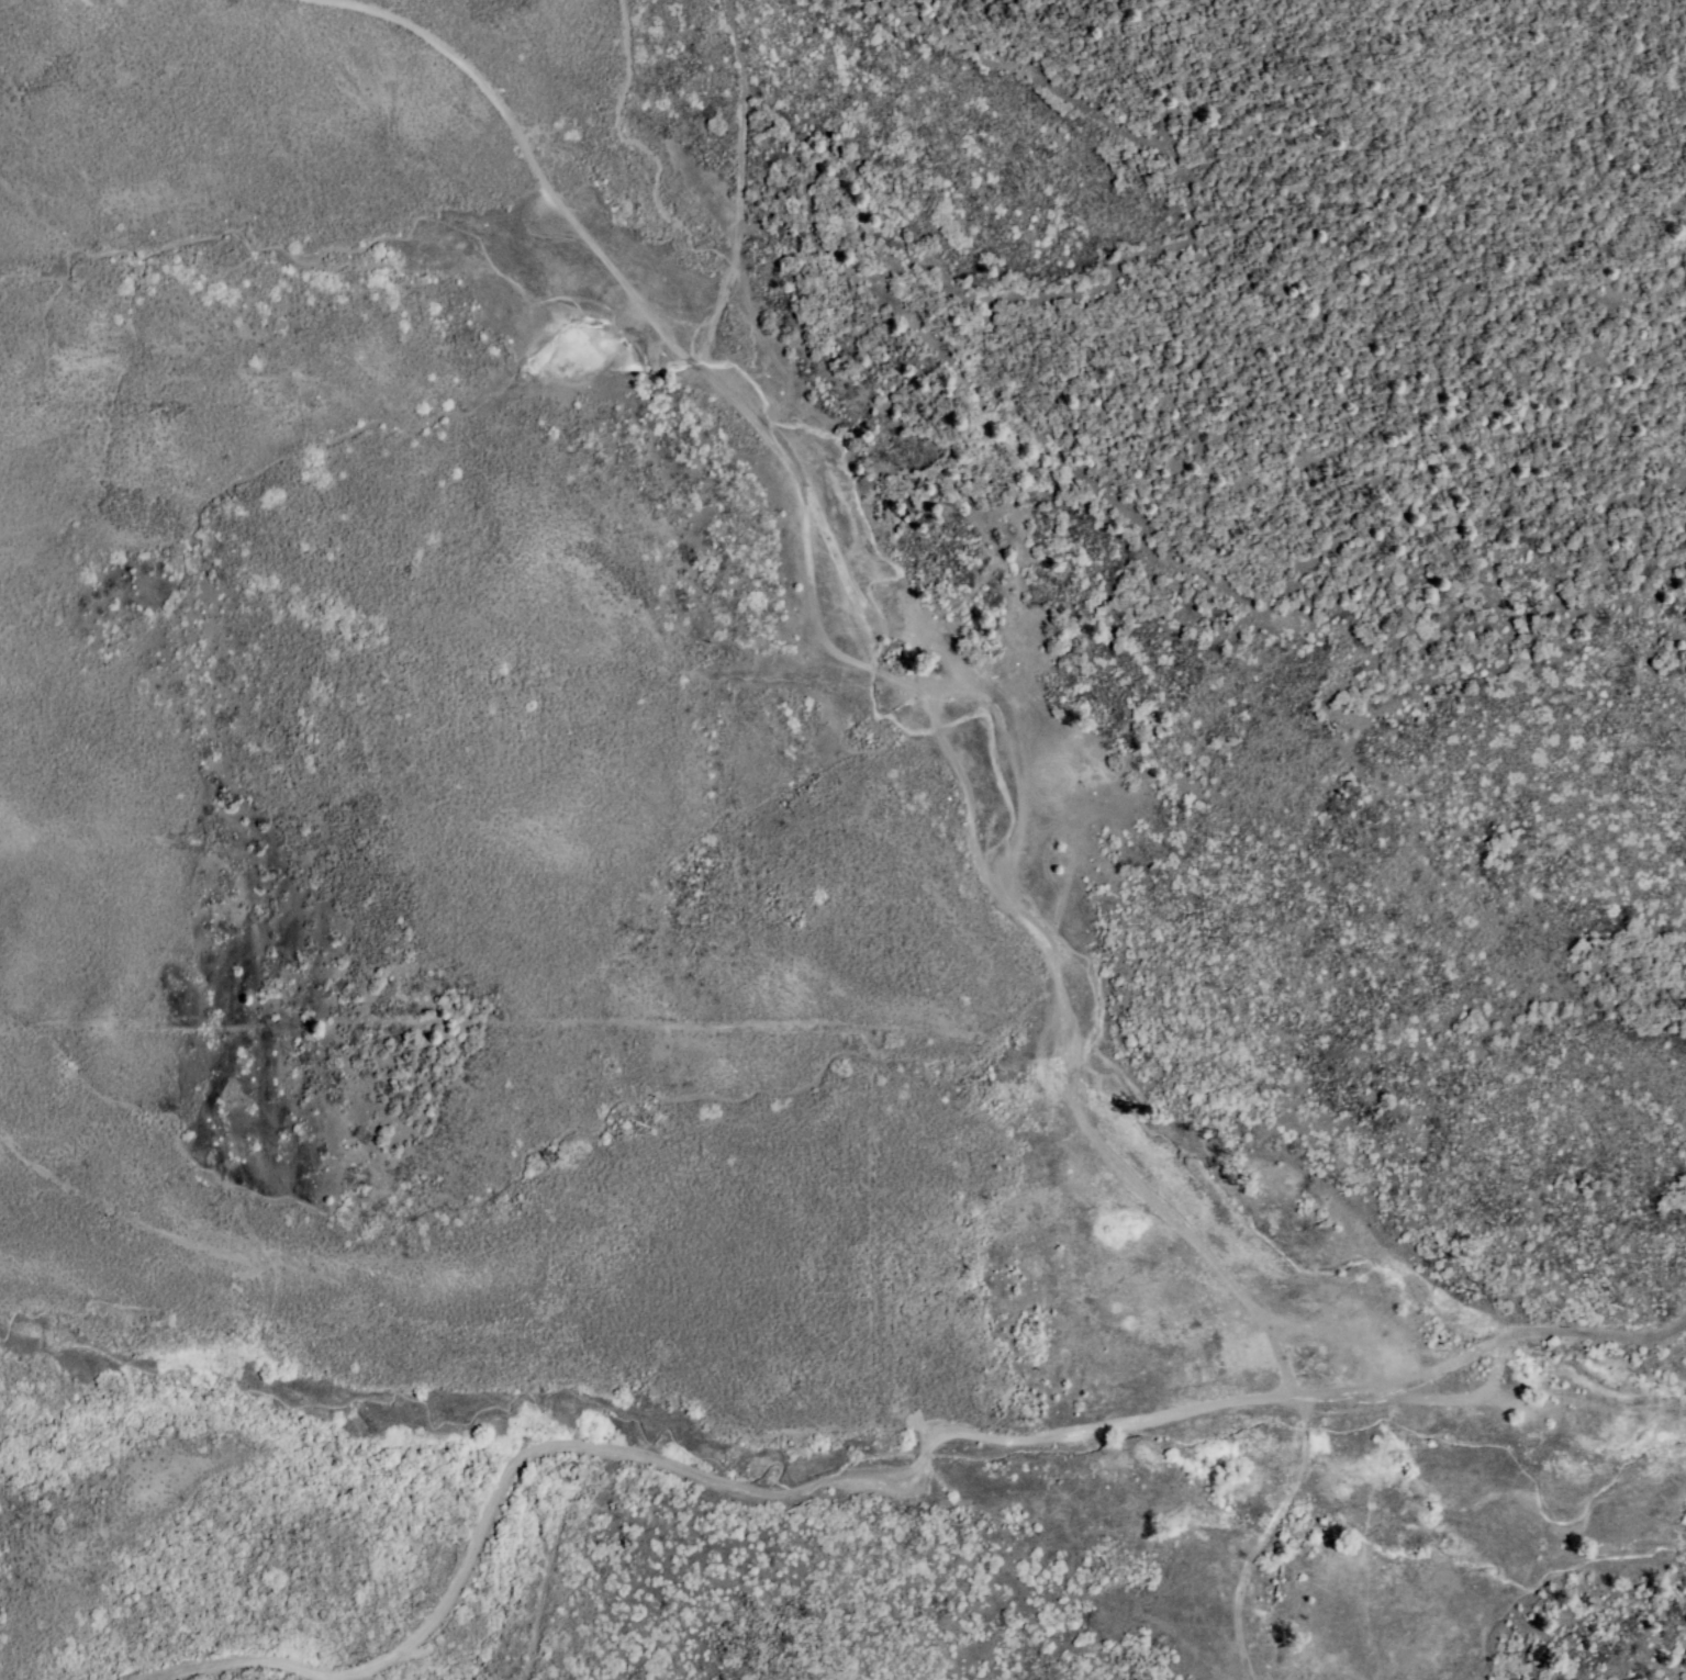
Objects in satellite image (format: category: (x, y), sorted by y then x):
road: (1476, 1357)

